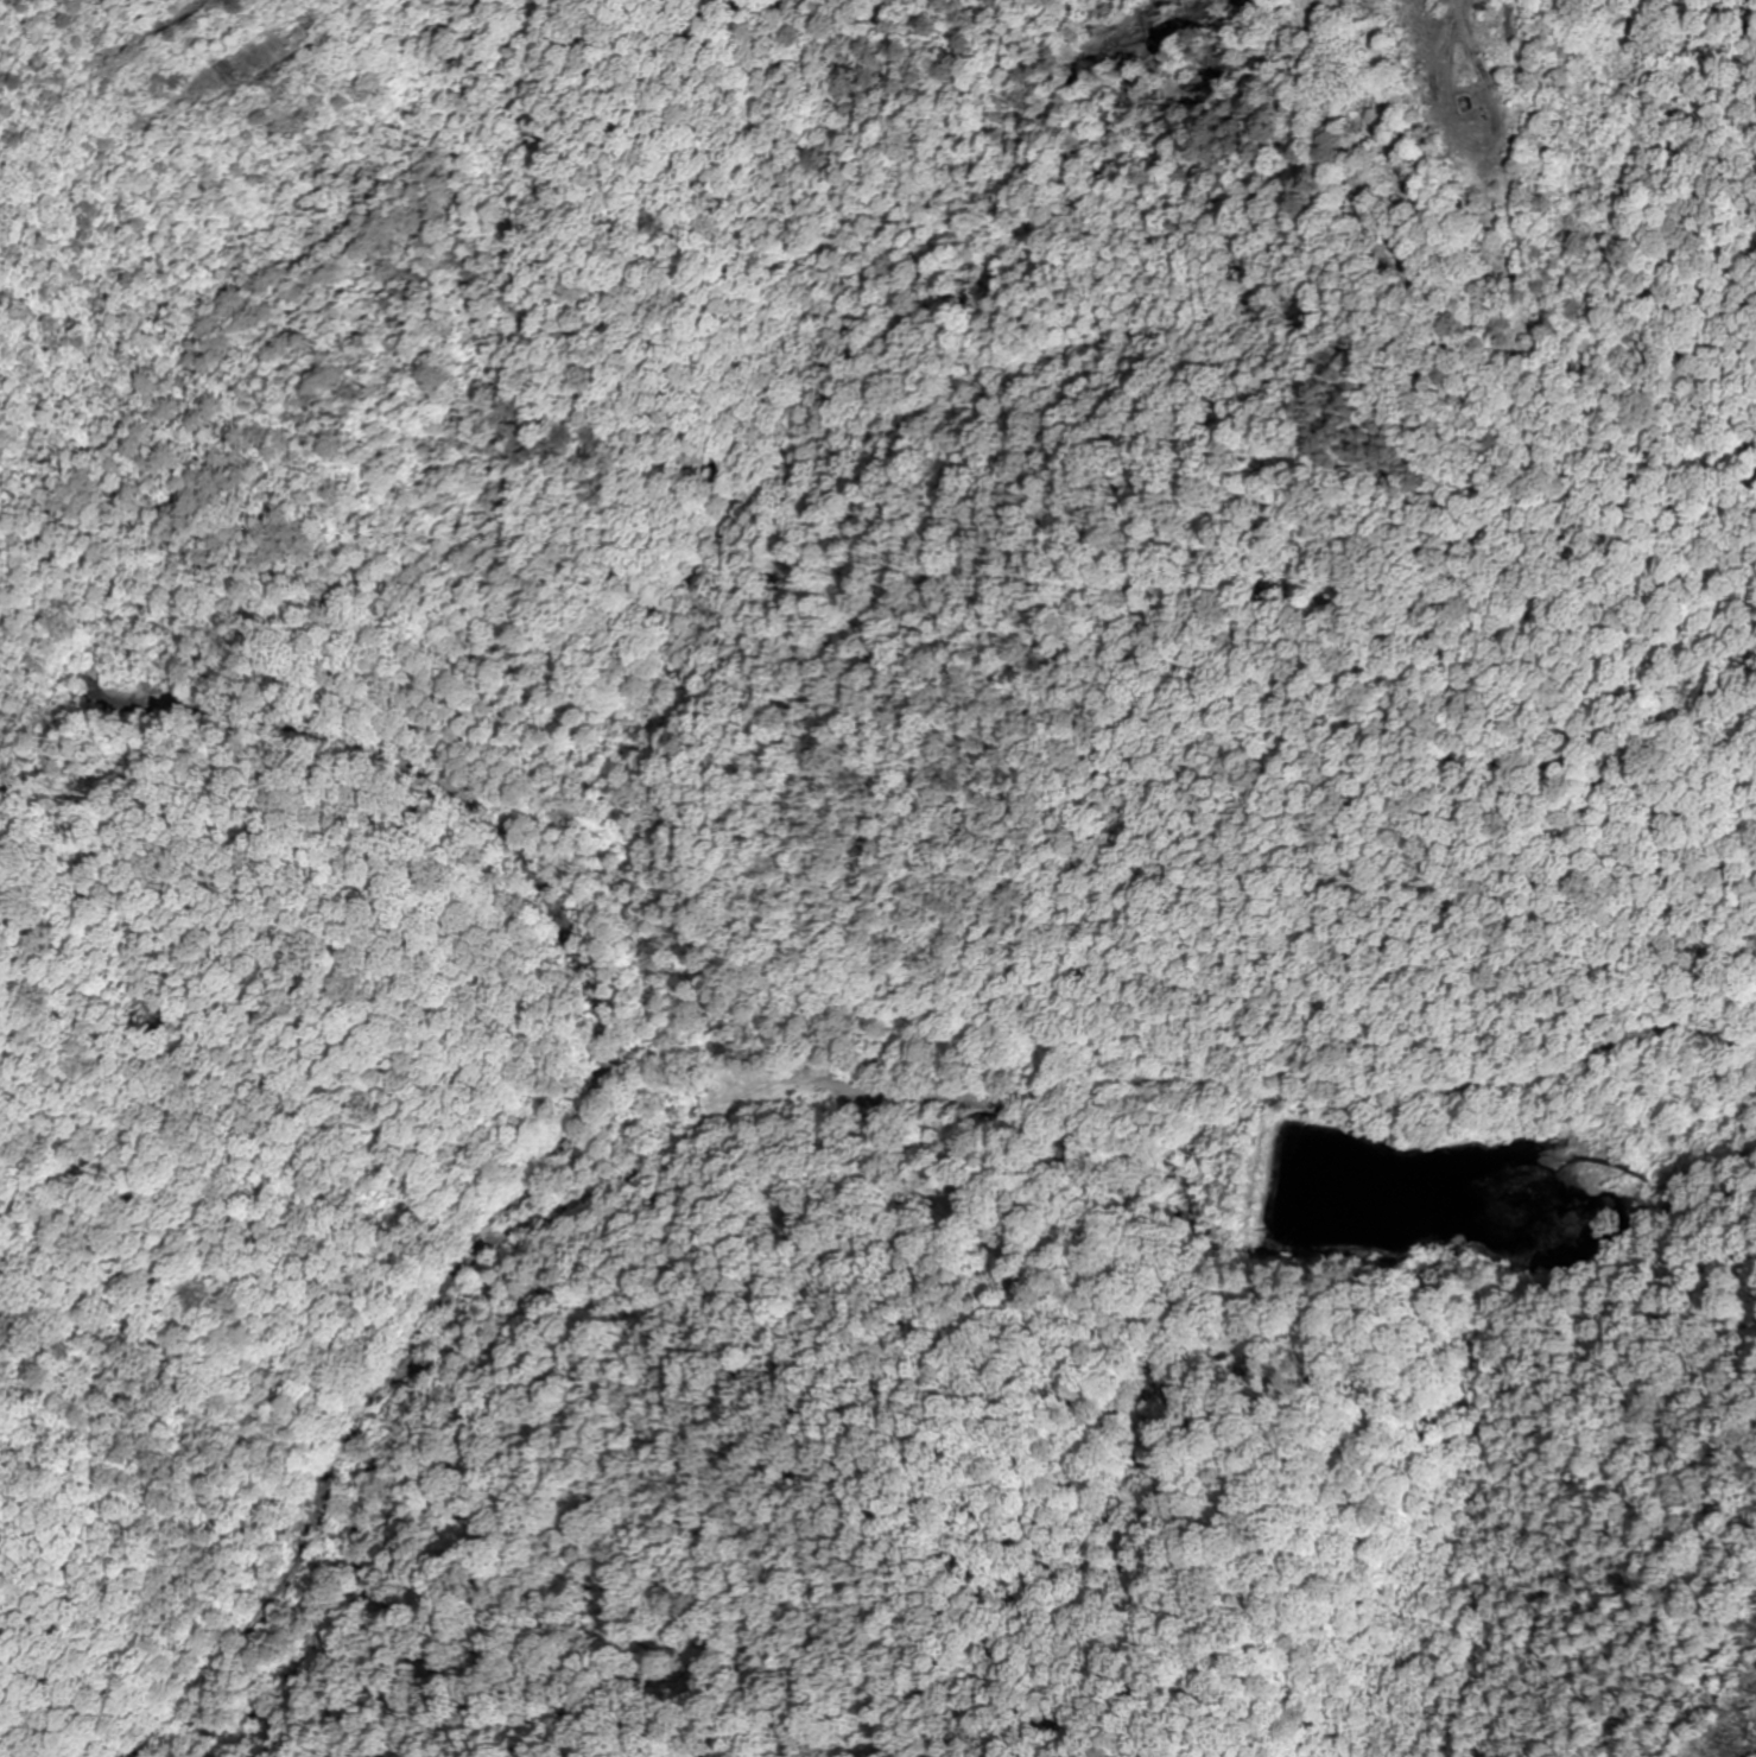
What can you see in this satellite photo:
dam: (1232, 1185)

